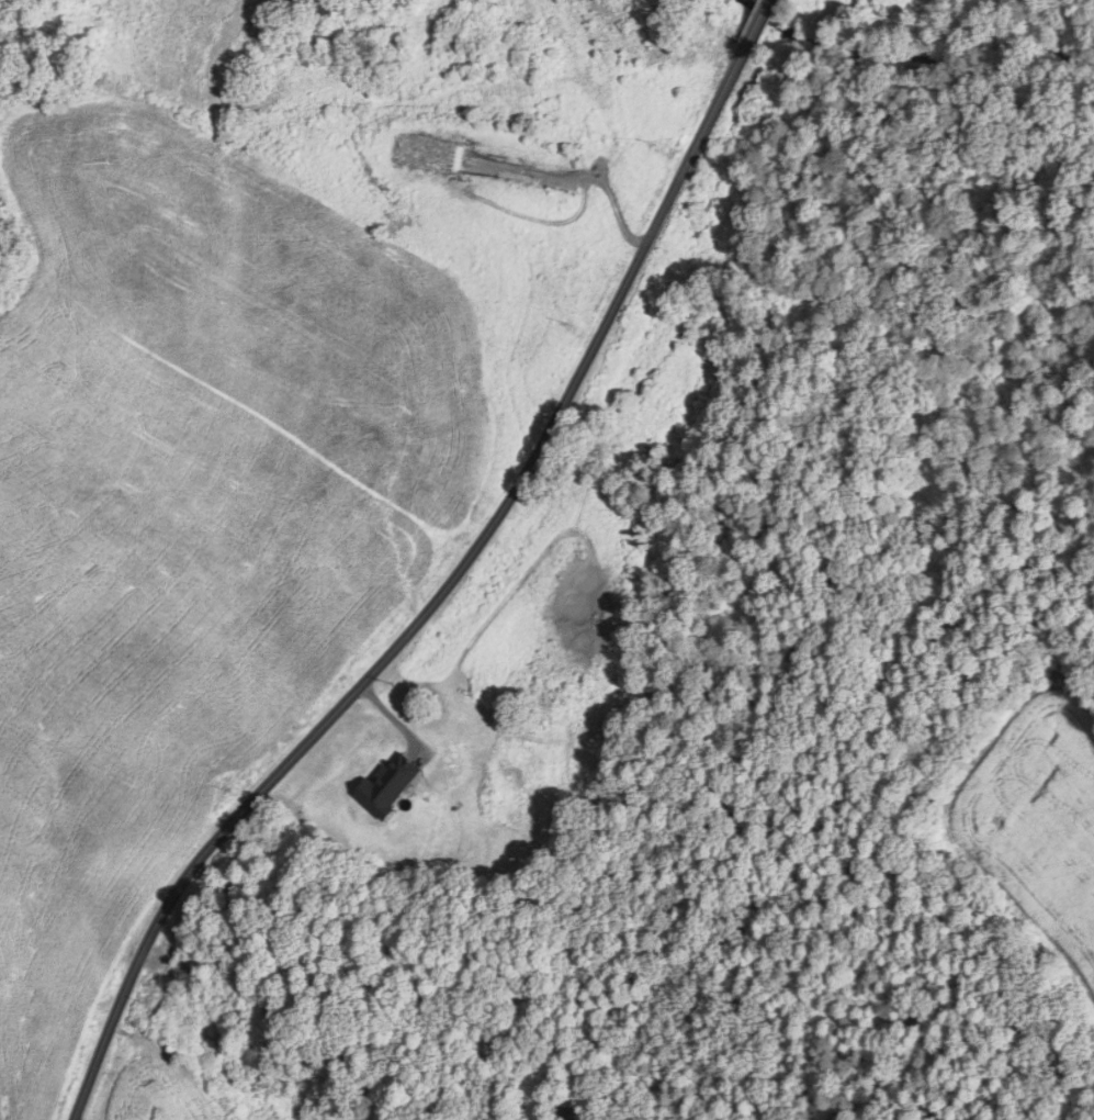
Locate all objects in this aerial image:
road: (758, 20)
road: (436, 600)
building: (396, 782)

